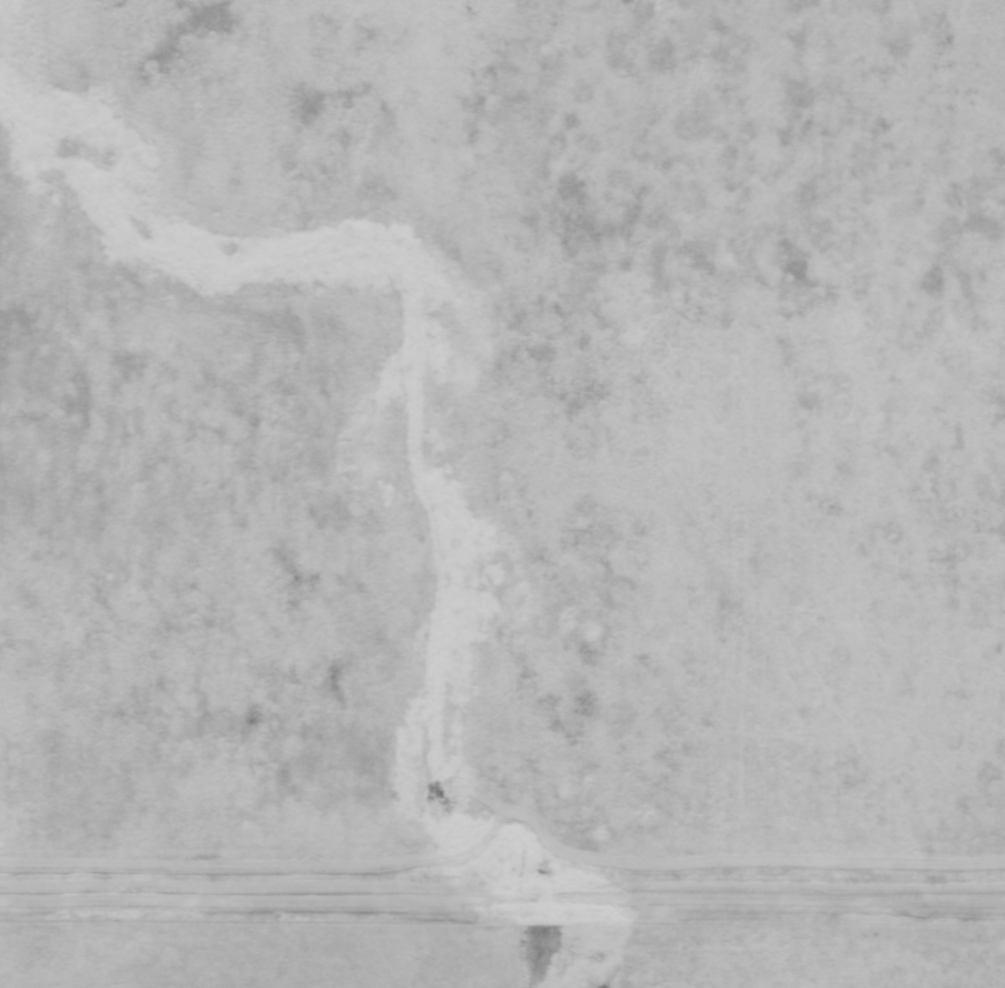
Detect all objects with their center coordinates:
road: (502, 893)

